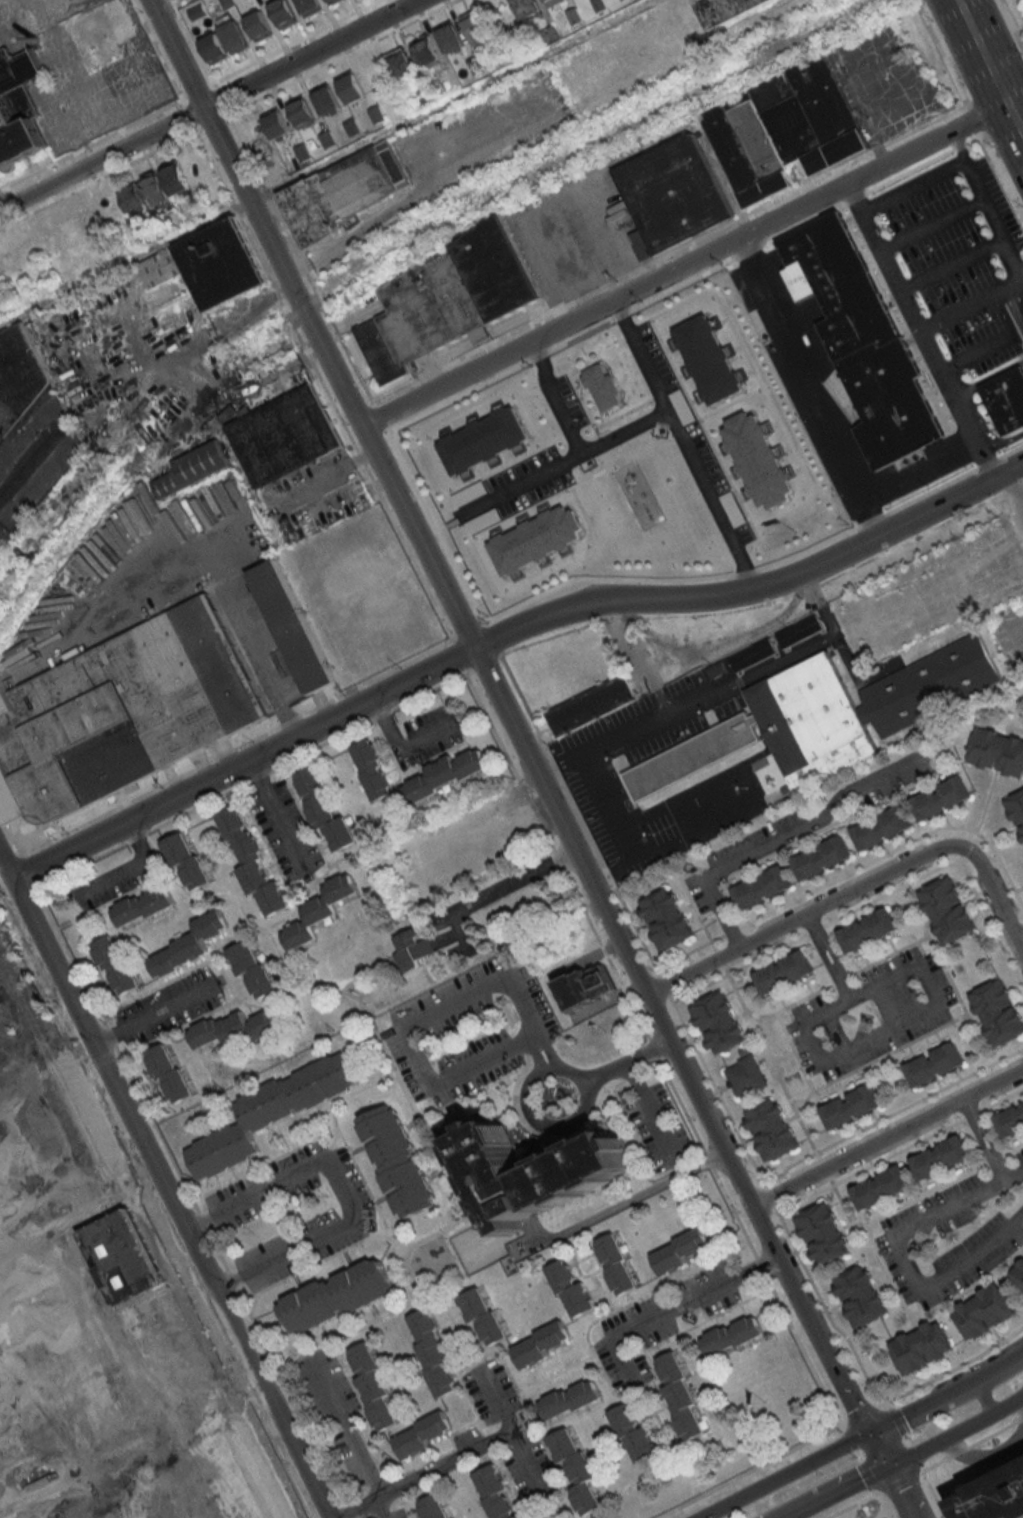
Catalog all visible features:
building: (331, 0)
road: (166, 6)
building: (525, 8)
building: (724, 10)
road: (1011, 22)
building: (476, 29)
building: (449, 38)
road: (984, 51)
building: (425, 52)
road: (309, 54)
building: (19, 106)
road: (970, 108)
road: (1016, 116)
building: (783, 128)
road: (958, 146)
road: (101, 158)
road: (327, 166)
building: (175, 178)
road: (912, 185)
building: (156, 192)
building: (672, 193)
building: (133, 199)
building: (346, 199)
road: (993, 222)
road: (931, 224)
road: (882, 256)
road: (314, 258)
road: (685, 264)
road: (950, 265)
building: (204, 272)
road: (1021, 276)
road: (1021, 277)
road: (1016, 296)
building: (435, 305)
road: (1012, 309)
road: (1001, 314)
building: (861, 340)
road: (932, 353)
road: (976, 353)
road: (641, 354)
building: (707, 361)
road: (988, 377)
road: (809, 385)
building: (601, 387)
building: (1005, 398)
building: (682, 407)
road: (657, 414)
building: (481, 437)
building: (30, 439)
building: (285, 442)
road: (1000, 442)
building: (758, 459)
building: (194, 469)
road: (919, 469)
road: (328, 473)
road: (520, 483)
building: (468, 494)
road: (1017, 494)
building: (732, 509)
road: (907, 520)
building: (534, 539)
building: (291, 626)
building: (799, 630)
road: (249, 639)
building: (753, 654)
road: (637, 656)
building: (717, 669)
road: (716, 688)
road: (392, 689)
building: (865, 702)
building: (590, 705)
building: (123, 715)
road: (516, 734)
road: (400, 749)
building: (997, 751)
building: (695, 762)
building: (373, 770)
building: (447, 773)
building: (941, 798)
building: (324, 810)
building: (1016, 810)
road: (277, 817)
building: (883, 829)
road: (628, 830)
road: (780, 839)
building: (822, 858)
building: (186, 860)
building: (252, 863)
road: (128, 866)
building: (762, 889)
road: (858, 890)
road: (495, 891)
building: (143, 905)
building: (949, 910)
building: (319, 911)
building: (667, 918)
building: (868, 931)
road: (1018, 940)
building: (189, 945)
building: (412, 950)
road: (828, 958)
building: (115, 965)
building: (252, 968)
building: (784, 973)
road: (486, 985)
building: (587, 986)
road: (839, 1003)
building: (999, 1011)
road: (154, 1013)
building: (718, 1023)
road: (900, 1024)
building: (235, 1028)
road: (550, 1054)
road: (535, 1057)
road: (625, 1062)
building: (935, 1065)
road: (452, 1074)
building: (170, 1075)
building: (744, 1077)
building: (851, 1108)
road: (650, 1110)
building: (271, 1112)
building: (1010, 1122)
road: (550, 1127)
building: (772, 1130)
road: (887, 1139)
road: (983, 1139)
building: (940, 1158)
building: (396, 1161)
building: (539, 1172)
road: (164, 1183)
road: (340, 1187)
building: (881, 1189)
road: (621, 1202)
road: (958, 1203)
building: (825, 1229)
building: (681, 1250)
building: (616, 1264)
road: (948, 1269)
building: (1019, 1272)
building: (571, 1289)
building: (336, 1296)
building: (864, 1296)
road: (672, 1307)
building: (987, 1309)
building: (483, 1316)
building: (732, 1335)
building: (542, 1343)
building: (923, 1345)
building: (433, 1350)
road: (952, 1373)
building: (374, 1387)
road: (983, 1387)
building: (113, 1391)
building: (681, 1398)
building: (570, 1399)
road: (863, 1417)
road: (344, 1424)
building: (633, 1432)
road: (957, 1432)
building: (421, 1434)
traffic signals: (871, 1435)
road: (863, 1438)
road: (906, 1439)
road: (984, 1456)
road: (452, 1457)
road: (526, 1458)
traffic signals: (890, 1465)
building: (576, 1468)
road: (756, 1471)
road: (840, 1491)
road: (902, 1491)
building: (495, 1493)
building: (996, 1497)
road: (382, 1506)
building: (432, 1507)

